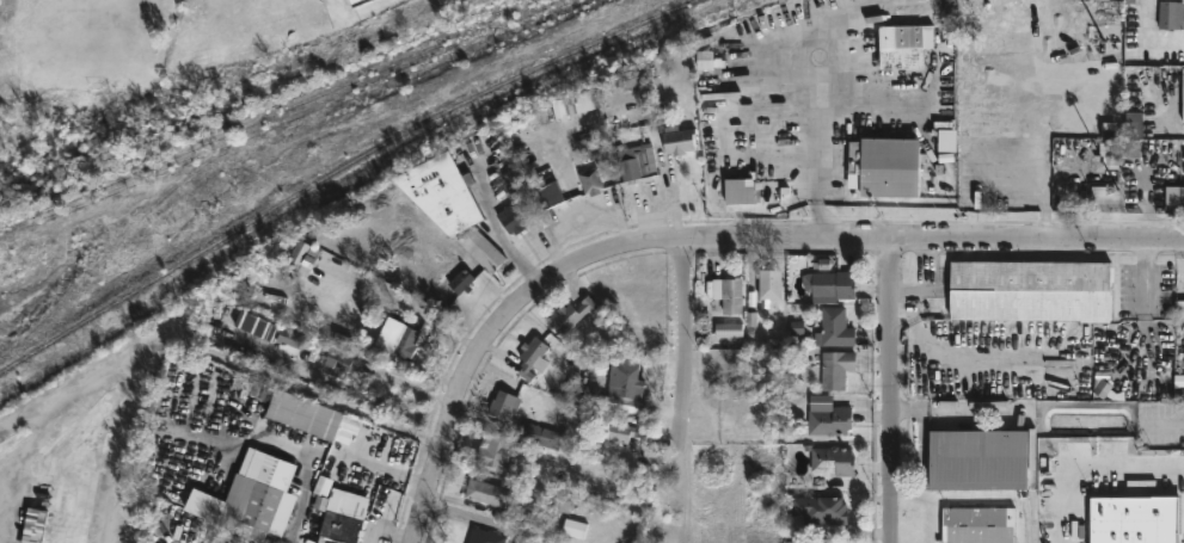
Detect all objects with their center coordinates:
building: (354, 1)
railway: (687, 5)
building: (1161, 14)
building: (1011, 43)
building: (902, 44)
building: (705, 61)
building: (633, 78)
building: (582, 101)
railway: (254, 109)
building: (1182, 110)
railway: (269, 112)
road: (829, 112)
road: (869, 113)
road: (1160, 115)
railway: (282, 117)
road: (1041, 119)
building: (679, 140)
building: (998, 140)
building: (639, 153)
road: (560, 158)
building: (1108, 161)
building: (887, 166)
railway: (341, 169)
building: (590, 180)
building: (738, 191)
building: (550, 195)
building: (1069, 200)
building: (449, 204)
building: (1180, 205)
building: (510, 218)
road: (579, 224)
railway: (122, 233)
road: (1039, 241)
road: (513, 253)
building: (299, 258)
road: (570, 266)
building: (381, 267)
building: (464, 277)
building: (769, 284)
building: (829, 286)
building: (1030, 291)
building: (729, 294)
building: (1179, 309)
building: (572, 313)
building: (834, 328)
road: (686, 332)
building: (395, 338)
road: (197, 346)
building: (533, 350)
building: (339, 359)
building: (835, 369)
building: (627, 385)
road: (895, 391)
building: (501, 403)
building: (305, 415)
building: (829, 421)
building: (614, 430)
building: (496, 449)
building: (832, 459)
building: (979, 461)
road: (308, 471)
road: (1105, 481)
building: (264, 493)
building: (485, 496)
building: (820, 510)
building: (343, 514)
building: (1137, 523)
building: (977, 525)
road: (388, 527)
building: (484, 536)

